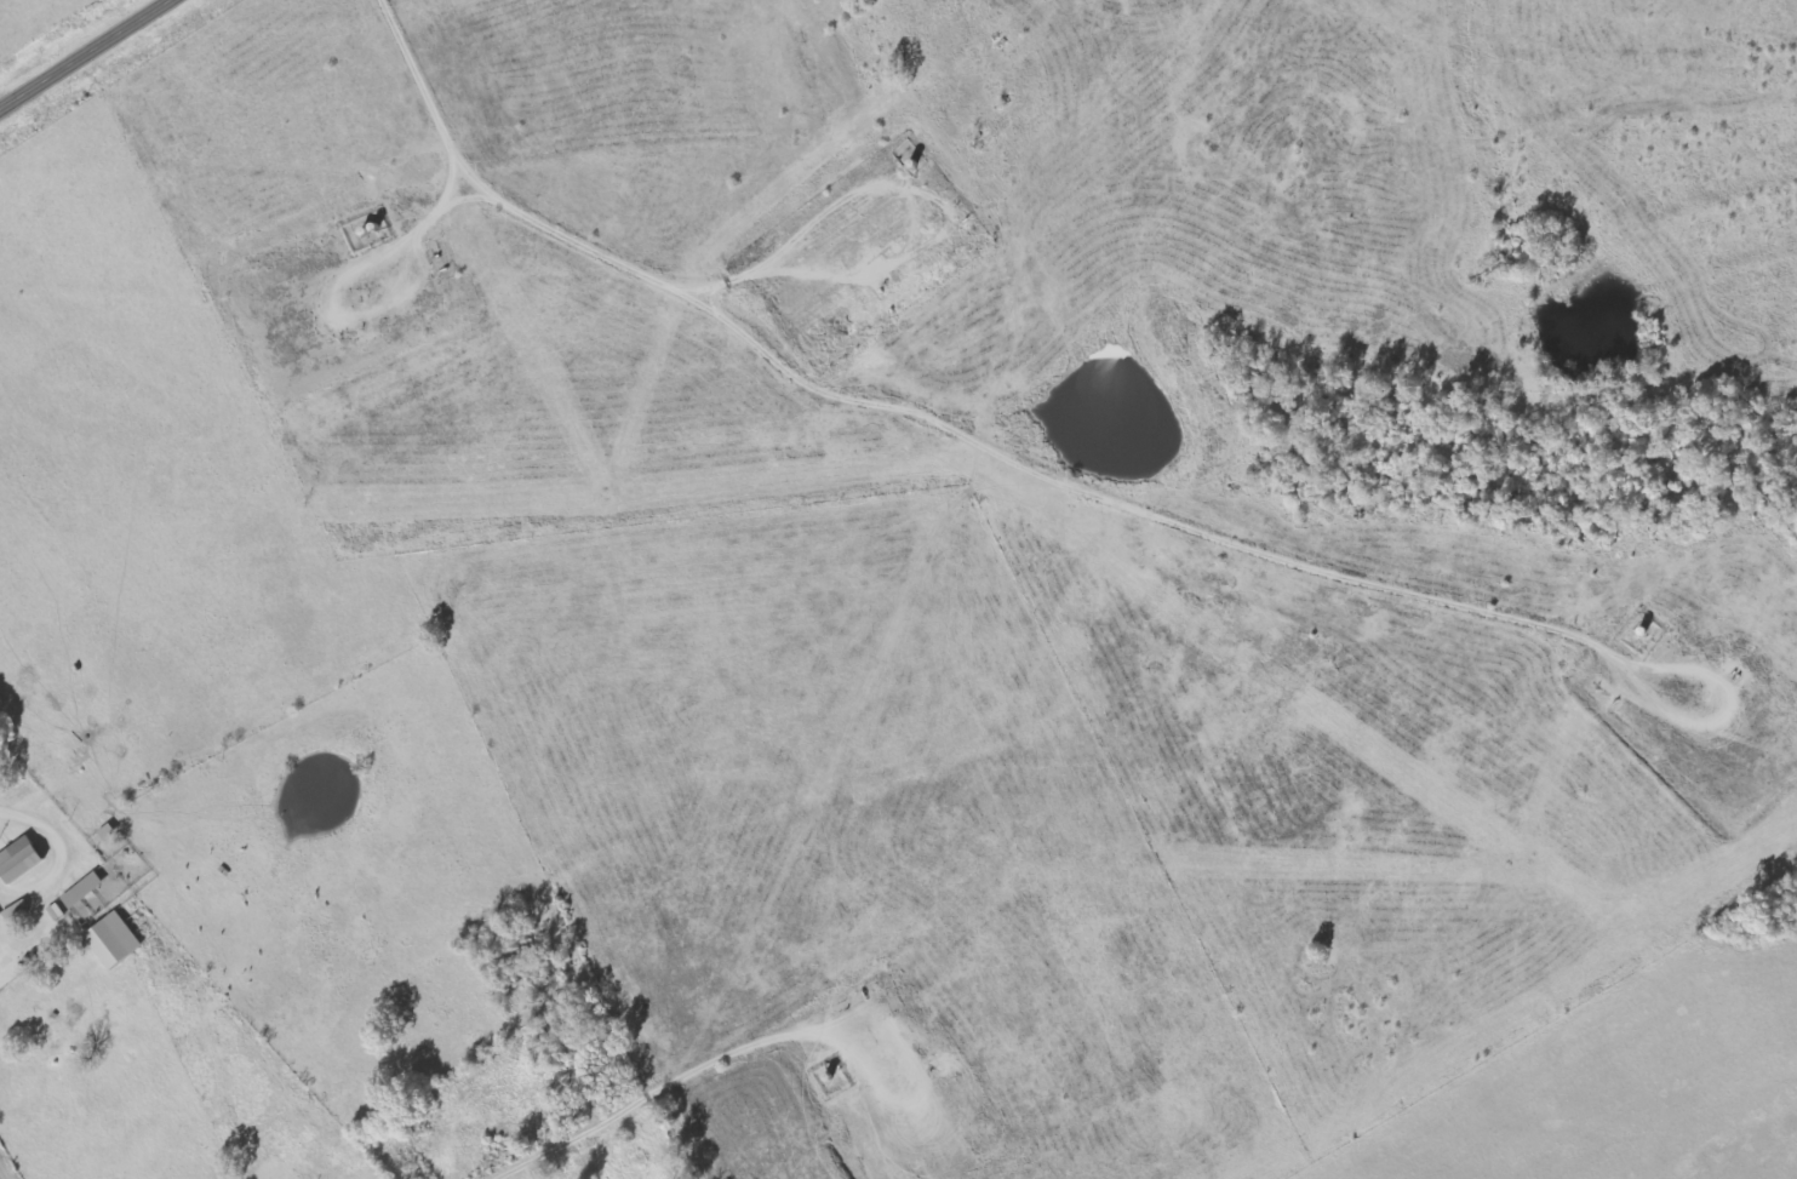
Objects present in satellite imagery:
road: (82, 53)
building: (22, 860)
building: (85, 891)
building: (57, 912)
building: (0, 922)
building: (115, 942)
road: (1, 1175)

